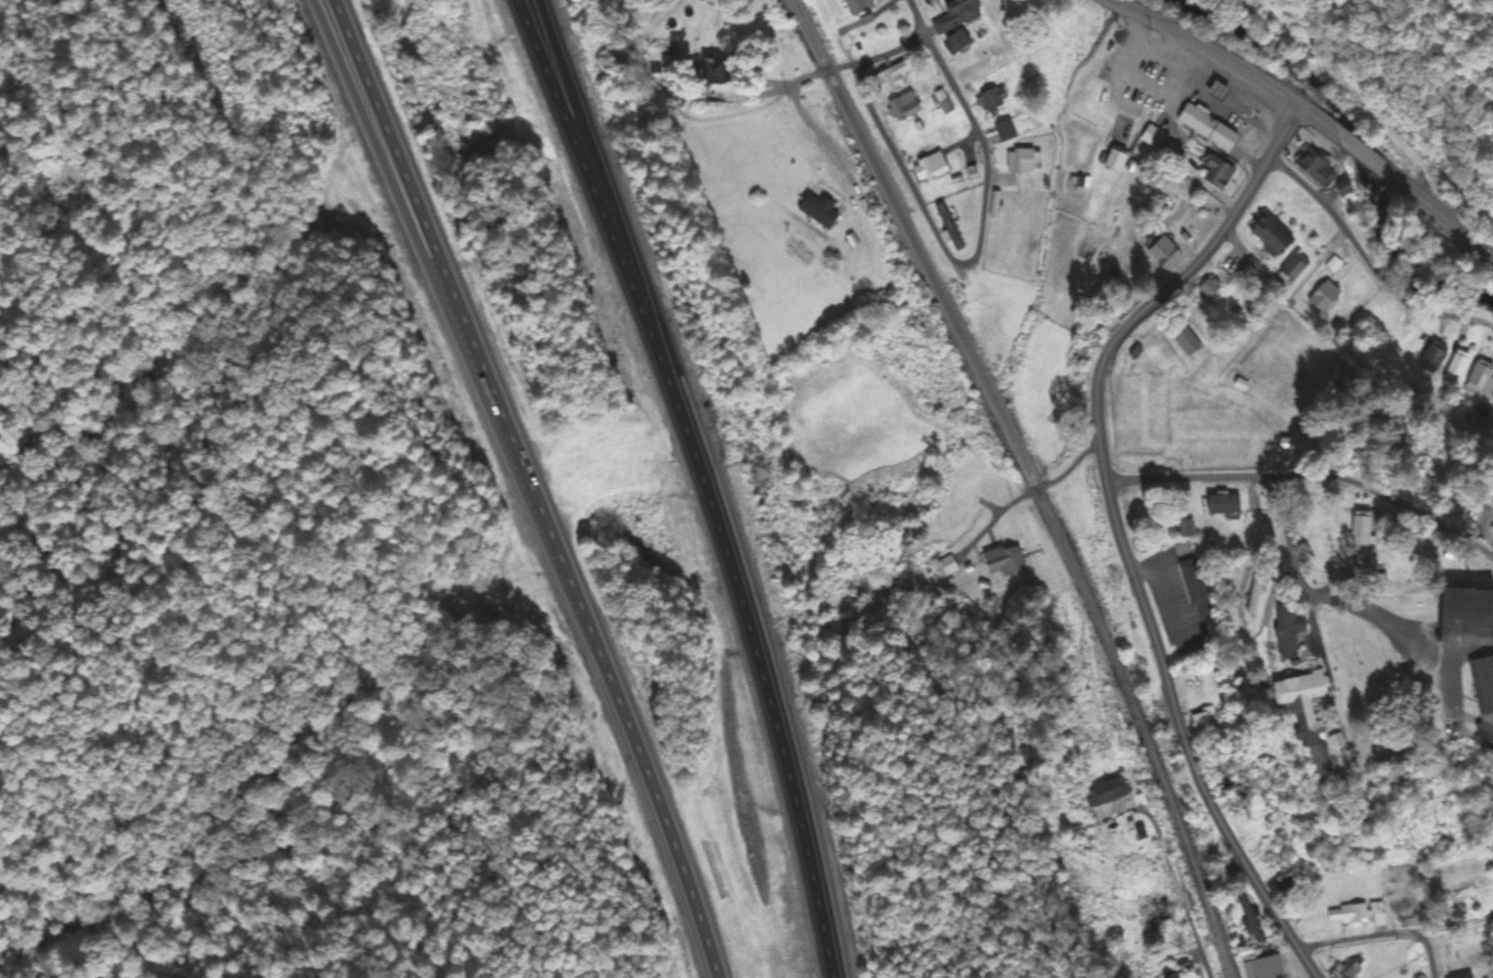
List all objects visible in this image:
building: (858, 6)
building: (956, 15)
building: (957, 42)
road: (1209, 50)
road: (880, 58)
building: (712, 72)
building: (890, 79)
road: (800, 84)
road: (357, 88)
road: (366, 88)
building: (993, 98)
building: (904, 109)
road: (1322, 123)
building: (1207, 128)
building: (1005, 132)
building: (1153, 138)
road: (588, 141)
road: (575, 142)
river: (1352, 144)
road: (1365, 154)
building: (1114, 158)
building: (1019, 162)
building: (931, 167)
building: (1314, 169)
building: (1217, 174)
building: (819, 211)
road: (1441, 213)
building: (1271, 235)
road: (981, 244)
building: (1164, 254)
road: (1370, 264)
building: (1293, 268)
road: (1187, 272)
building: (1324, 297)
building: (1187, 343)
building: (1432, 360)
building: (1458, 367)
building: (1481, 379)
road: (1308, 475)
railway: (1033, 481)
road: (1032, 492)
building: (1223, 504)
building: (1186, 528)
building: (1361, 529)
building: (1004, 560)
building: (949, 566)
road: (564, 575)
building: (1111, 575)
road: (1299, 578)
building: (1197, 590)
building: (1254, 593)
building: (1466, 615)
road: (1378, 623)
road: (746, 627)
building: (1287, 631)
building: (1482, 683)
building: (1306, 717)
building: (1204, 721)
road: (1178, 723)
building: (1484, 734)
building: (1235, 778)
building: (1106, 792)
building: (1282, 883)
road: (1179, 895)
building: (1460, 900)
building: (1403, 908)
building: (1158, 914)
building: (1349, 915)
building: (1251, 920)
road: (1451, 929)
road: (1382, 938)
building: (1348, 970)
building: (1461, 976)

